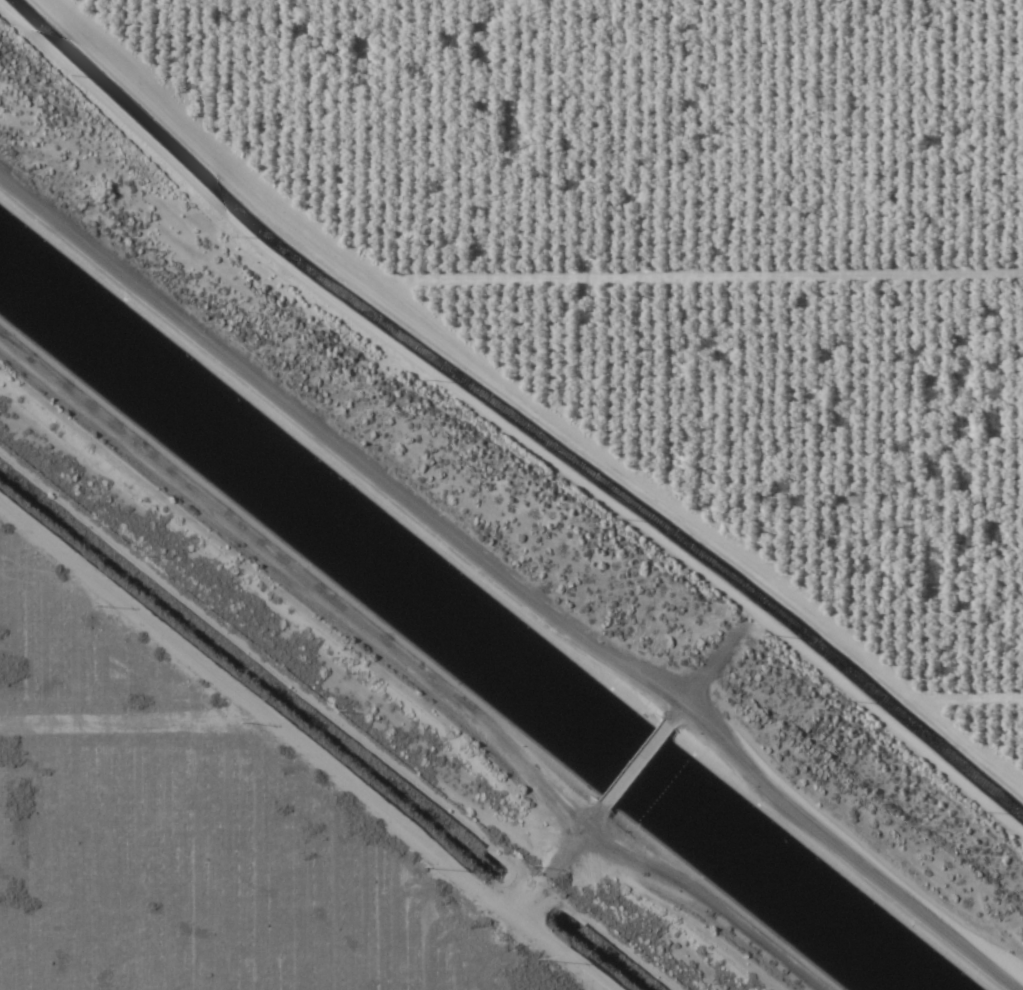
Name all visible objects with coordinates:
road: (412, 662)
road: (855, 822)

